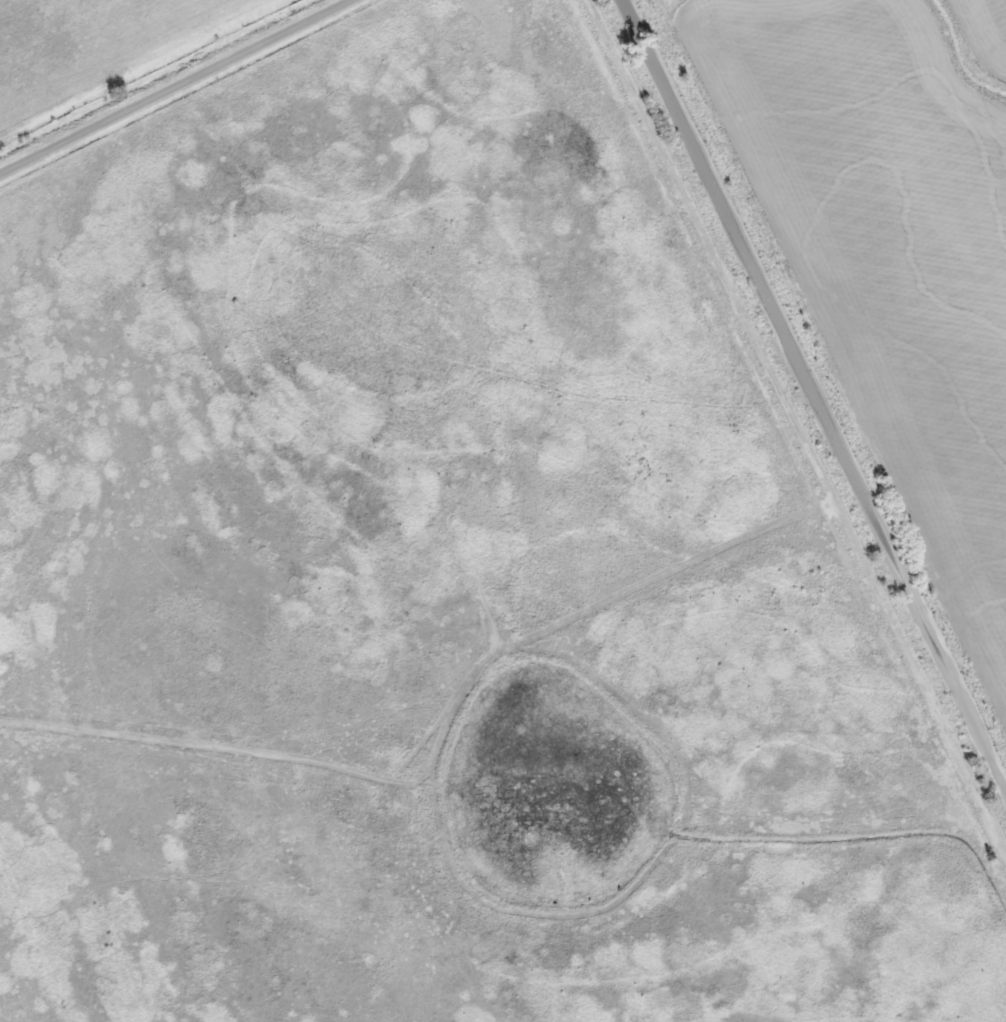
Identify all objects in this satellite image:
road: (174, 86)
road: (796, 421)

